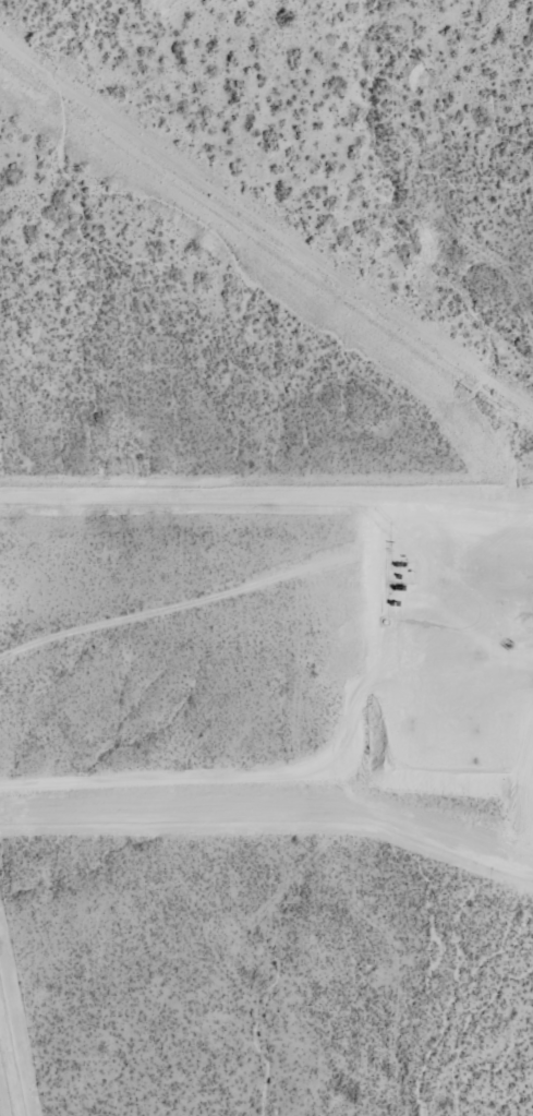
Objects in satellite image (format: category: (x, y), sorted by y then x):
road: (266, 783)

